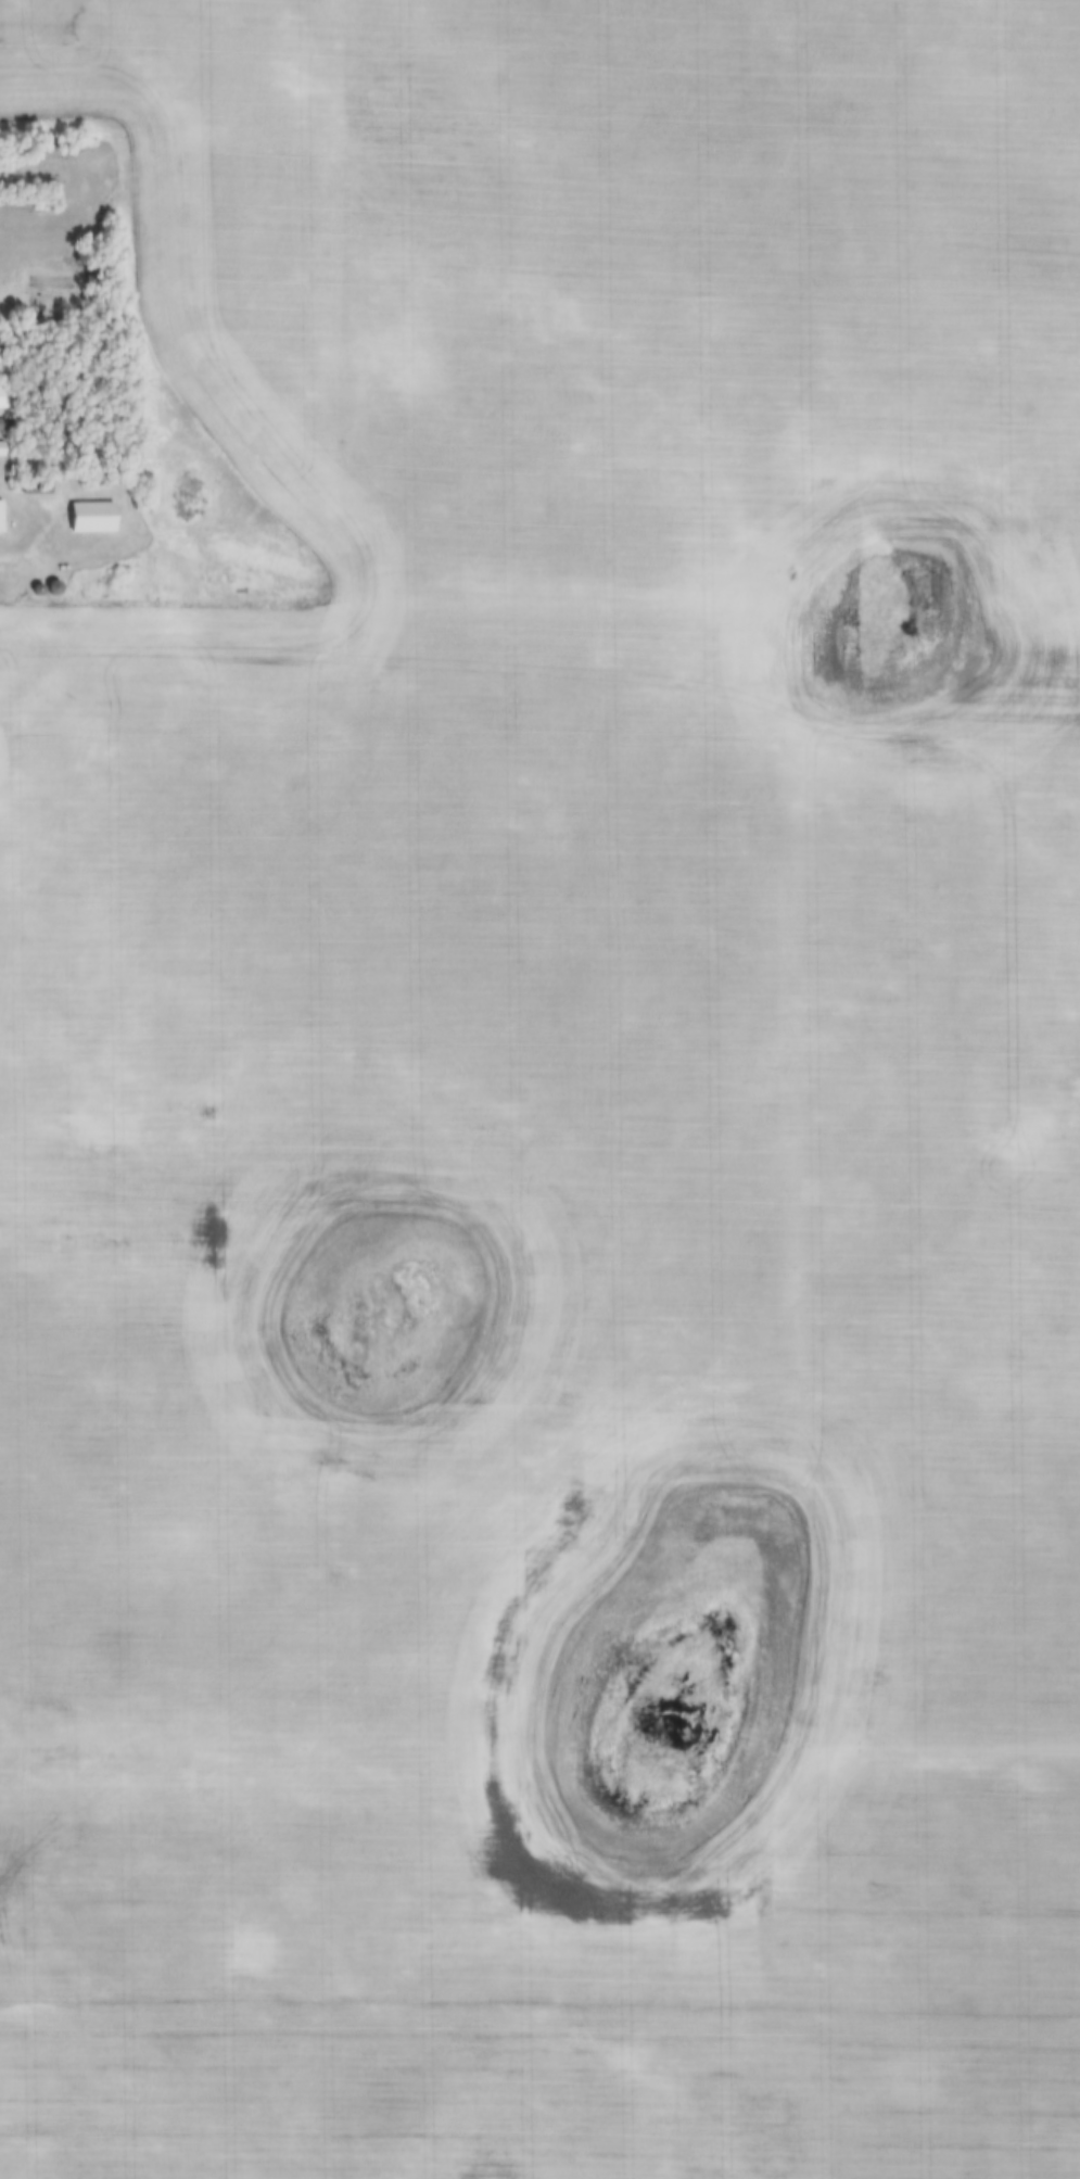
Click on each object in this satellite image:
building: (0, 397)
building: (31, 485)
building: (87, 516)
road: (31, 539)

